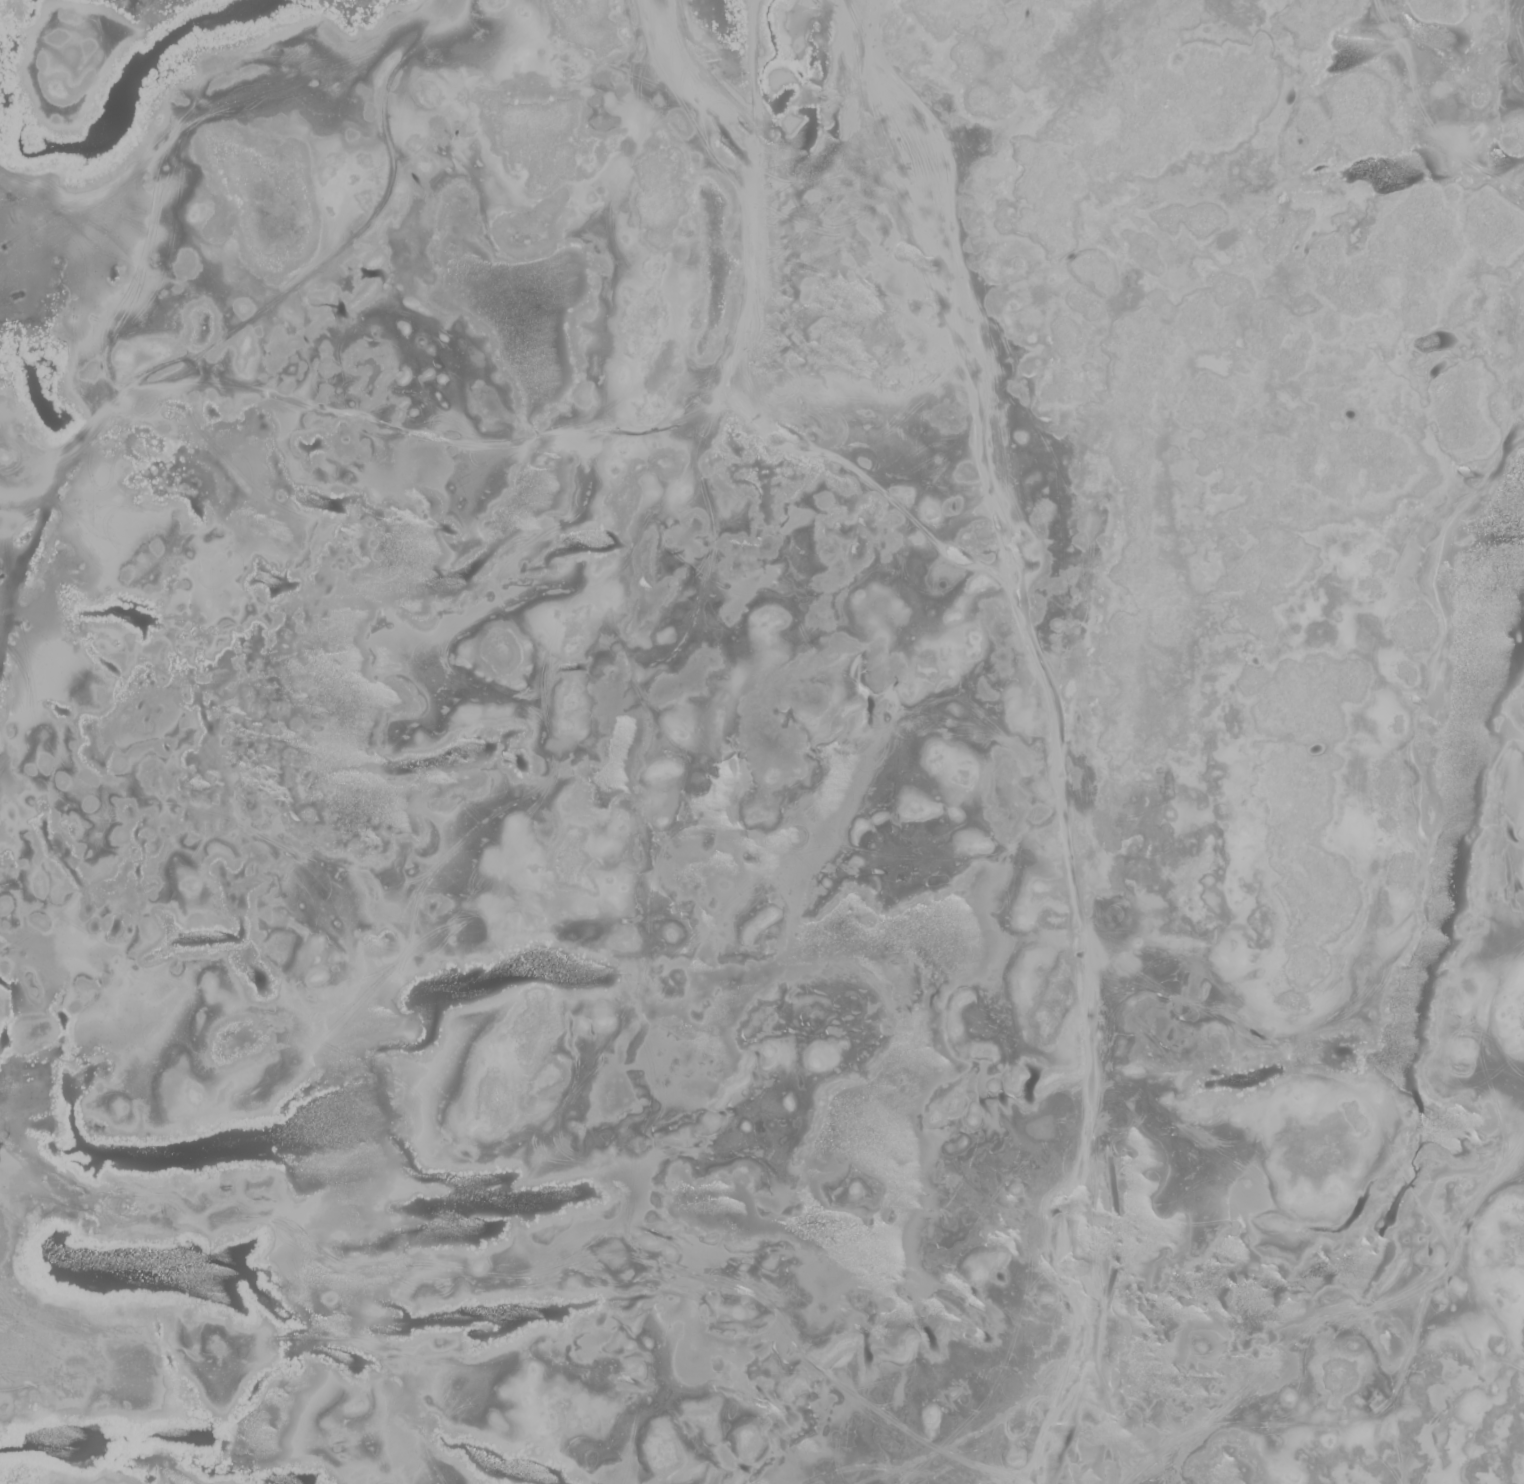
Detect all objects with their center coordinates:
park: (762, 742)

